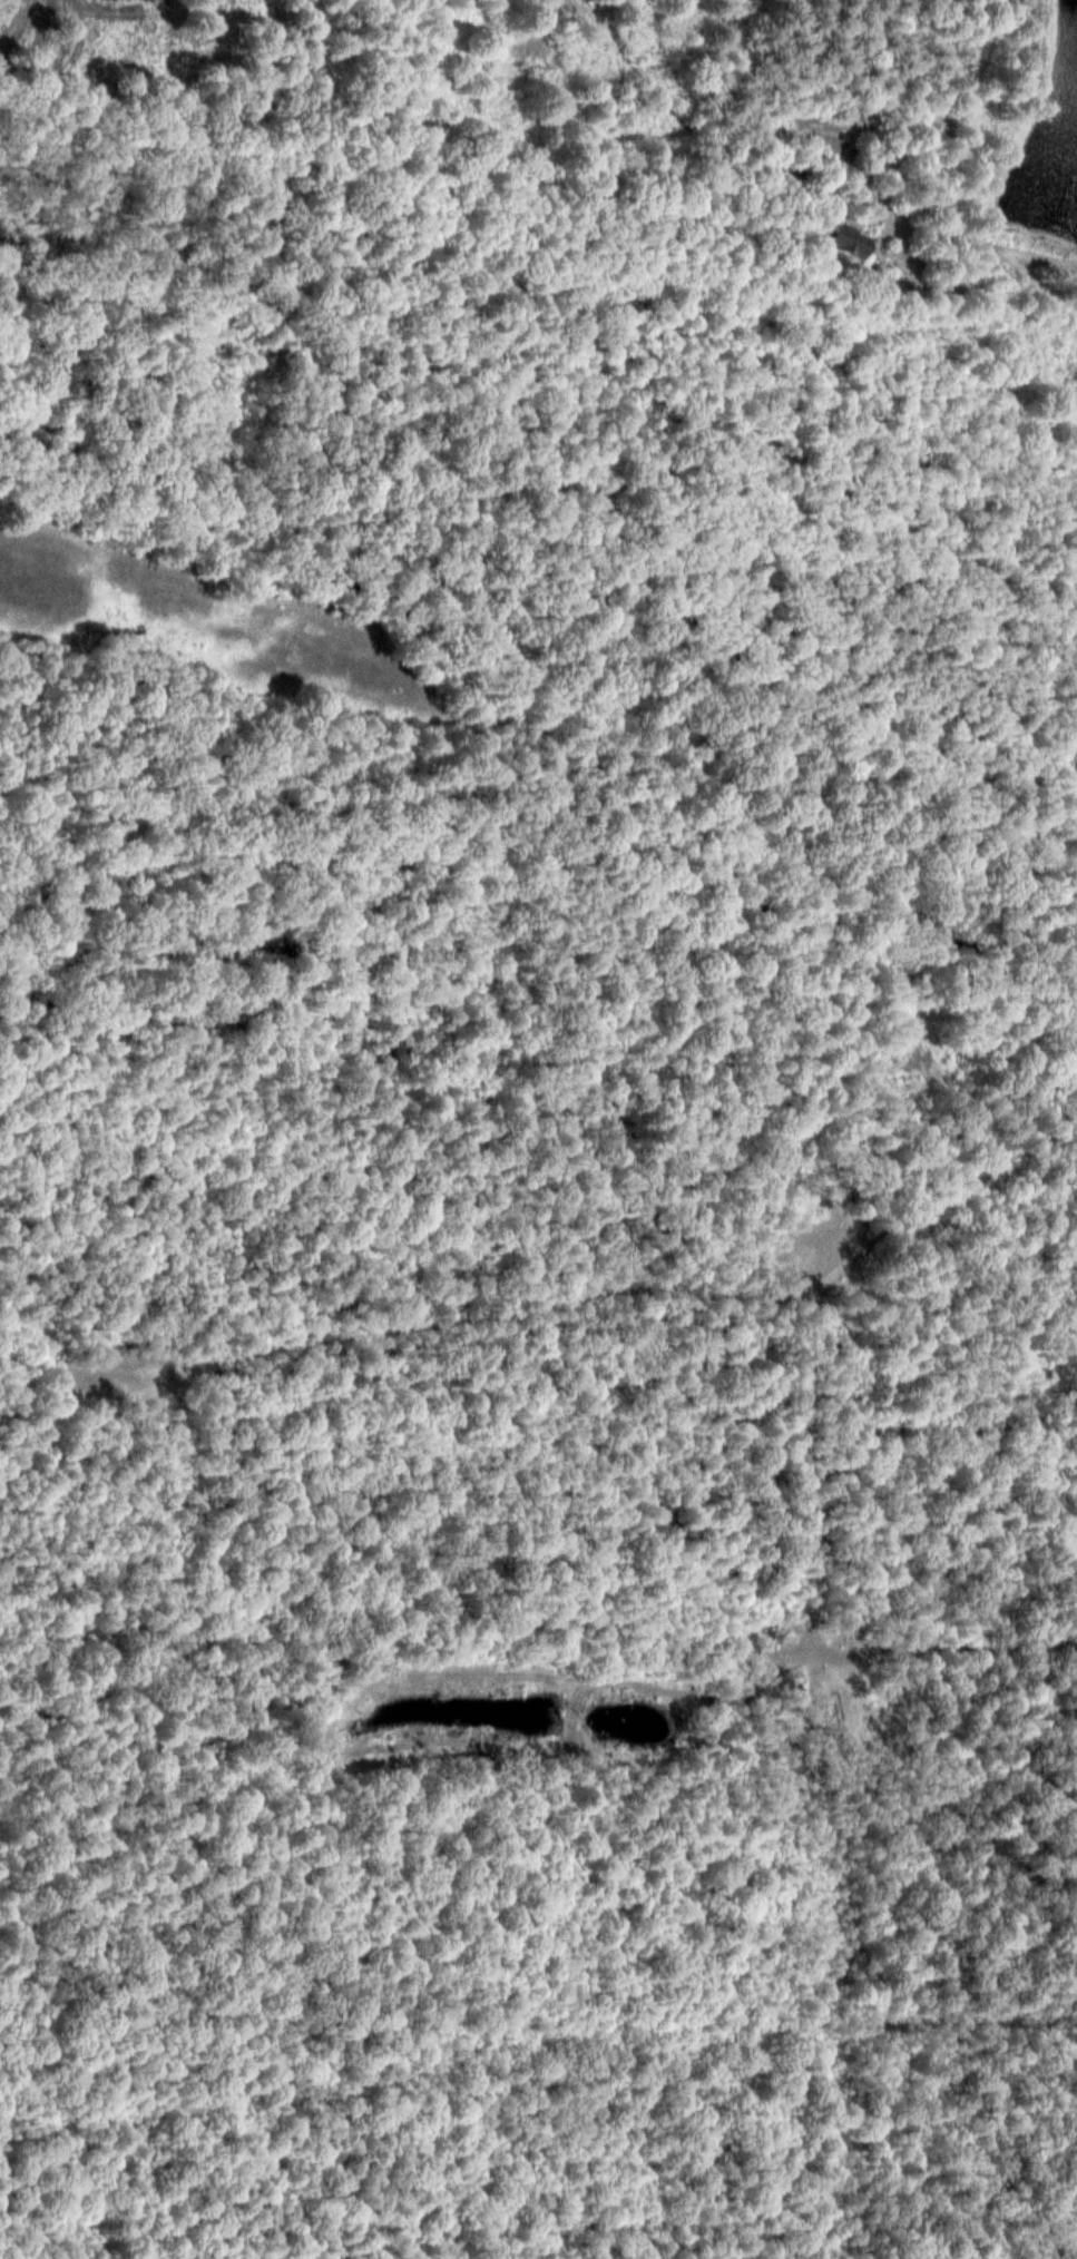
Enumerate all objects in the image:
road: (802, 183)
building: (852, 243)
road: (1041, 282)

